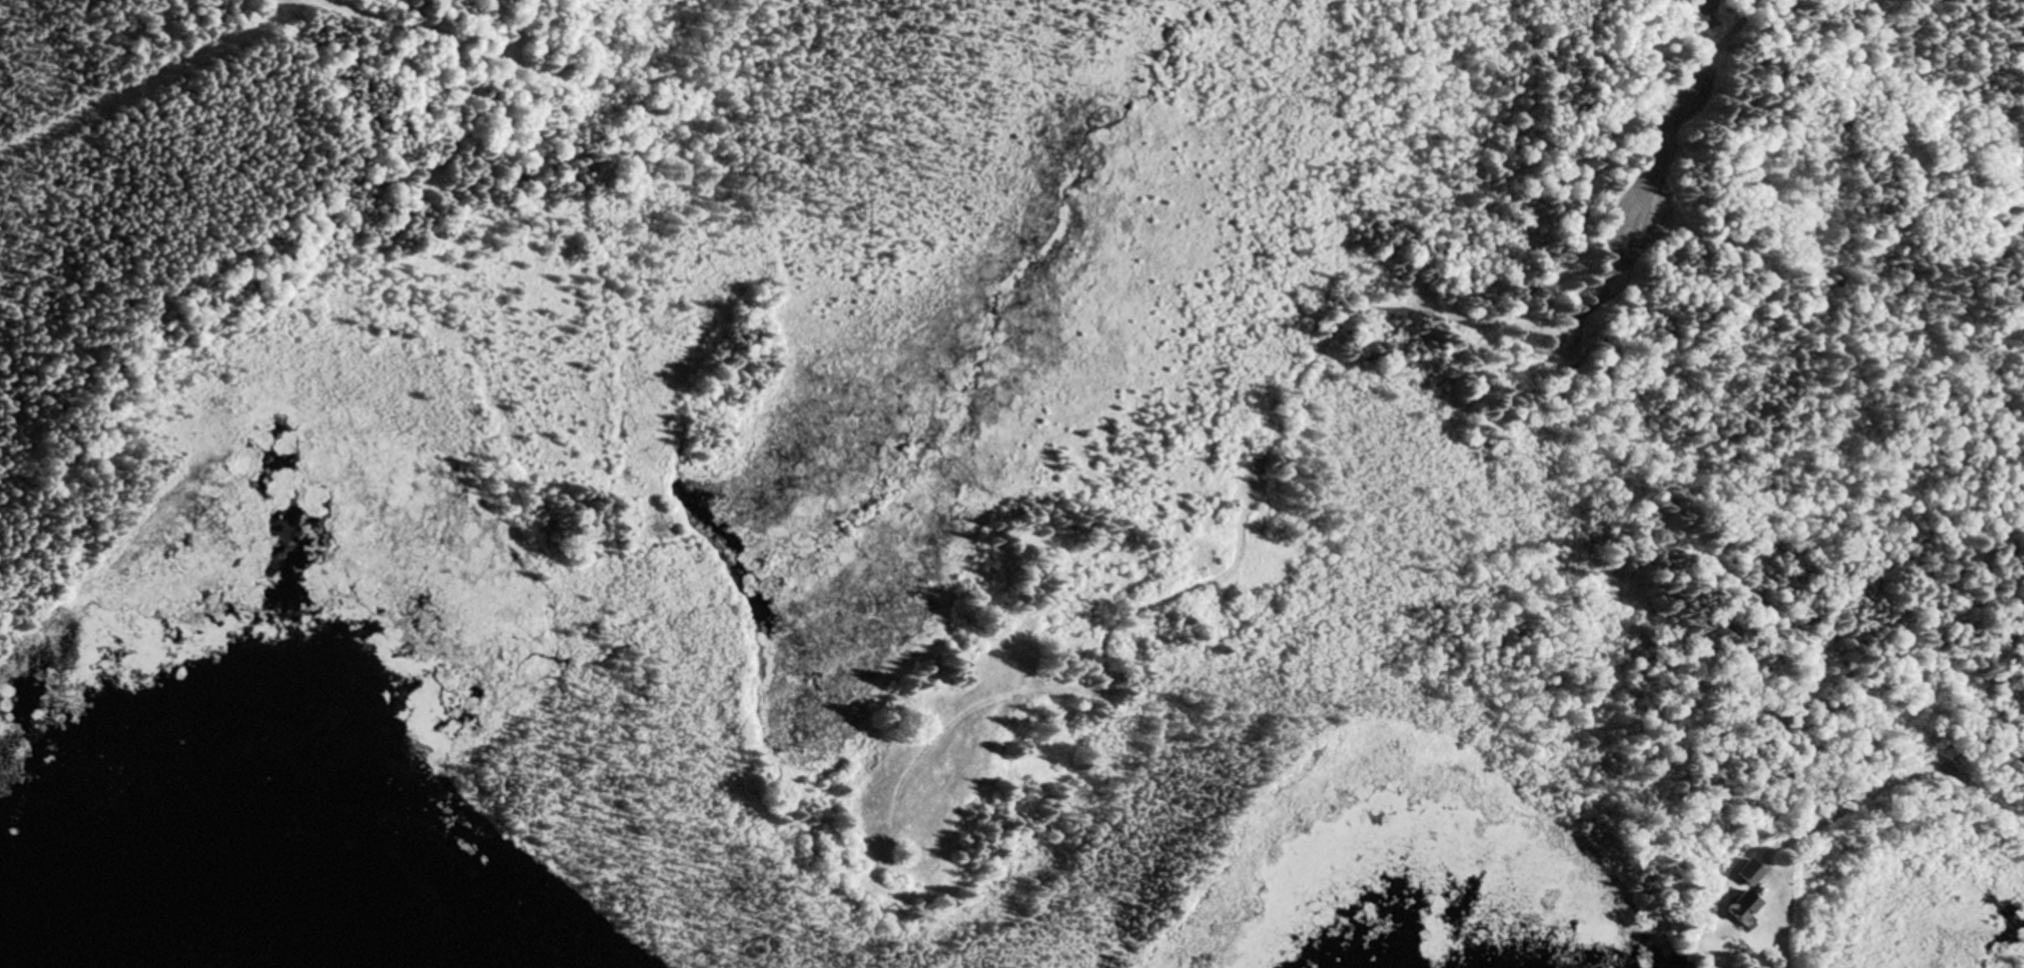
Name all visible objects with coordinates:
building: (1744, 874)
building: (1735, 909)

